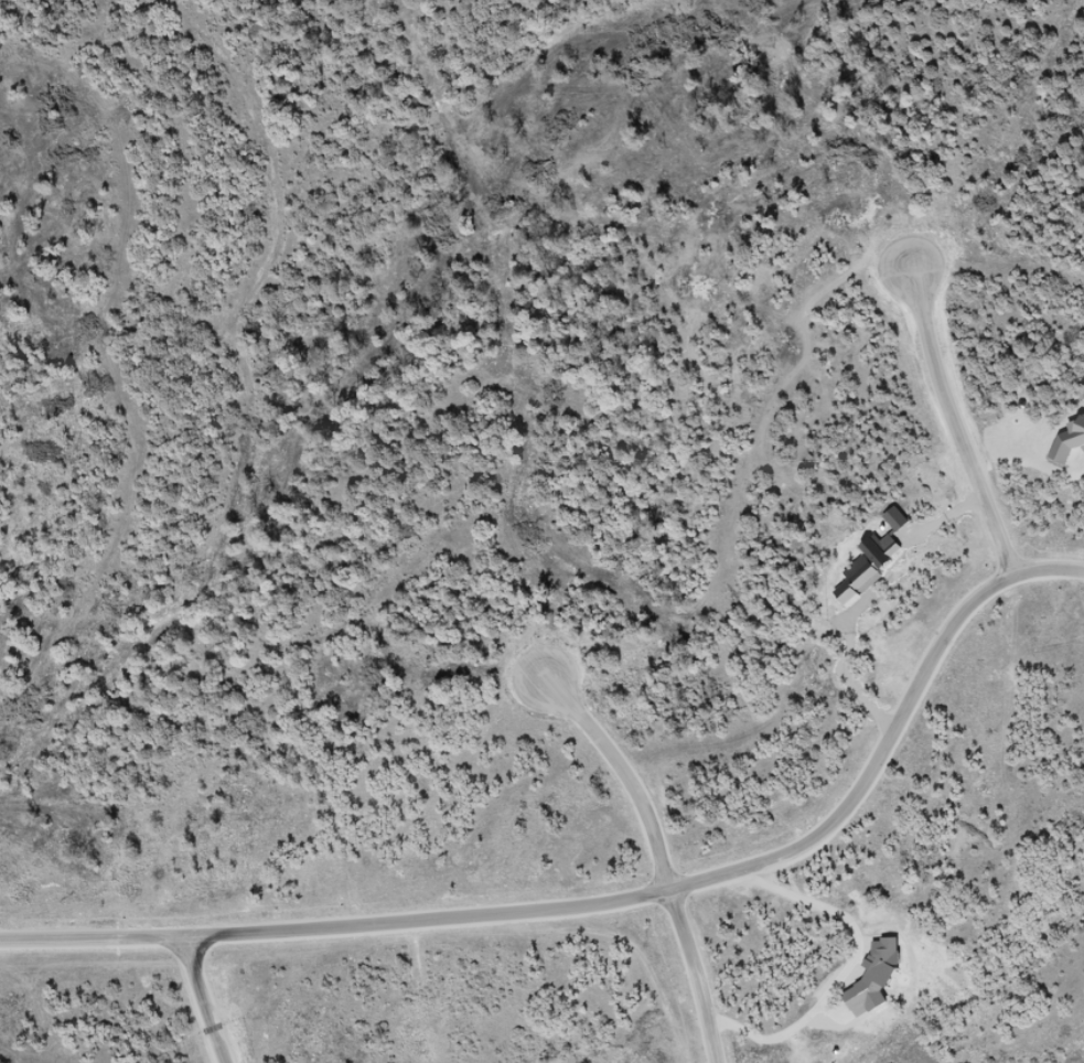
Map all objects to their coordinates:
road: (614, 895)
road: (693, 974)
road: (206, 1001)

